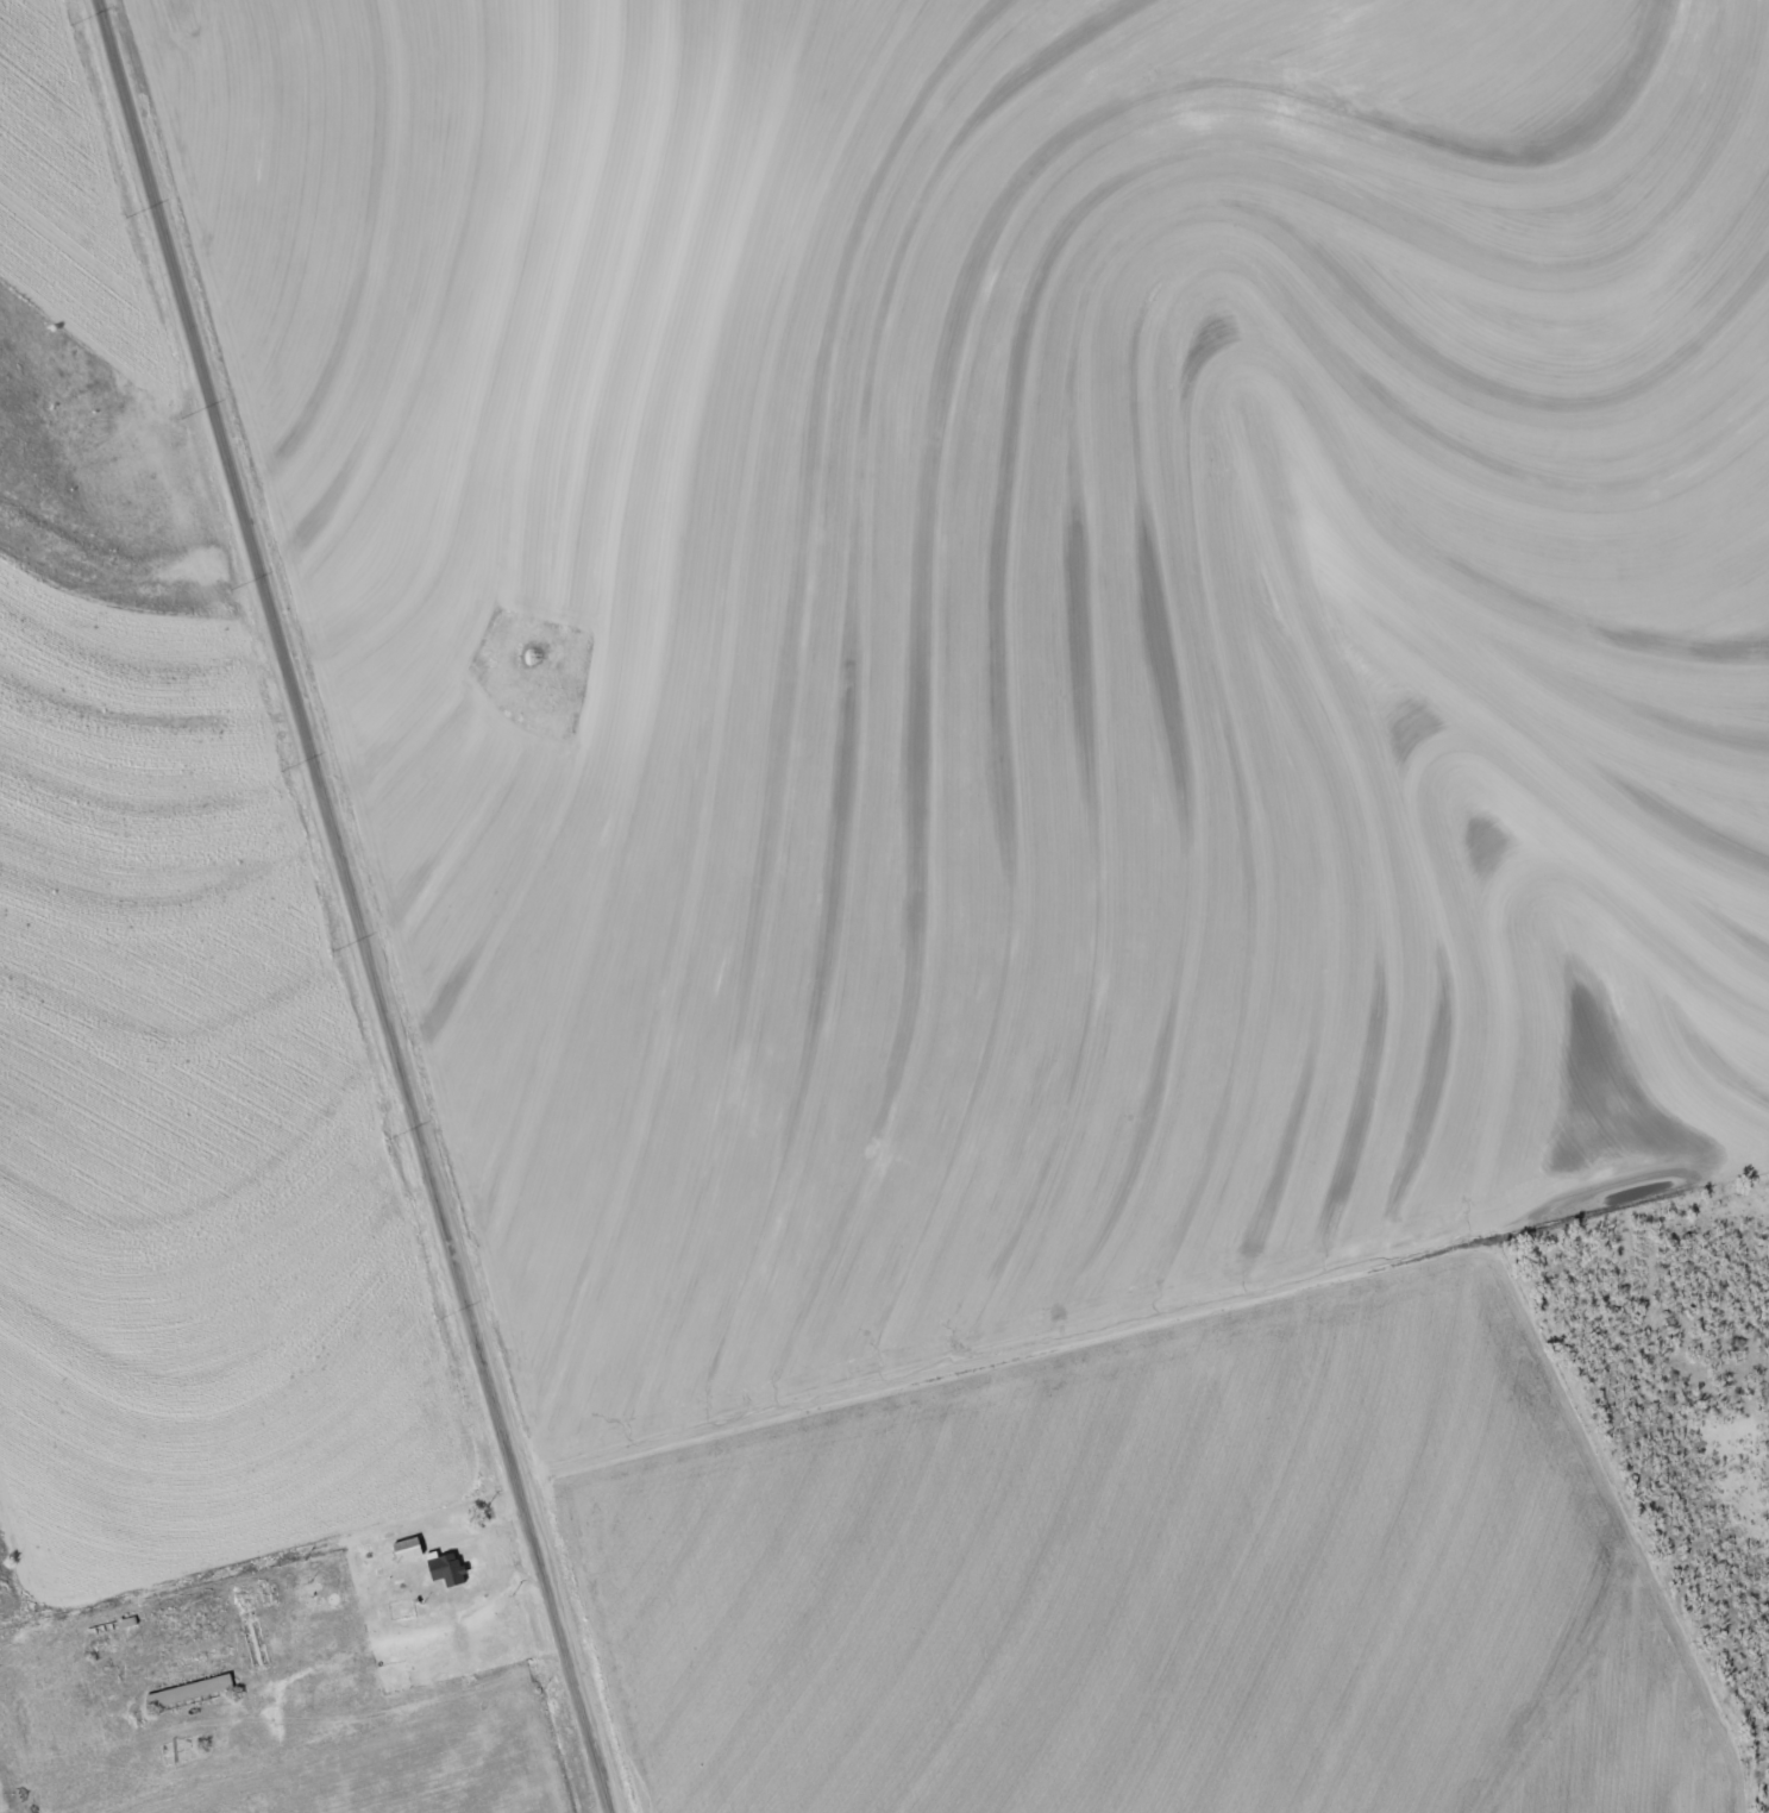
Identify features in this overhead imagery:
road: (359, 906)
building: (407, 1548)
building: (445, 1566)
building: (192, 1689)

